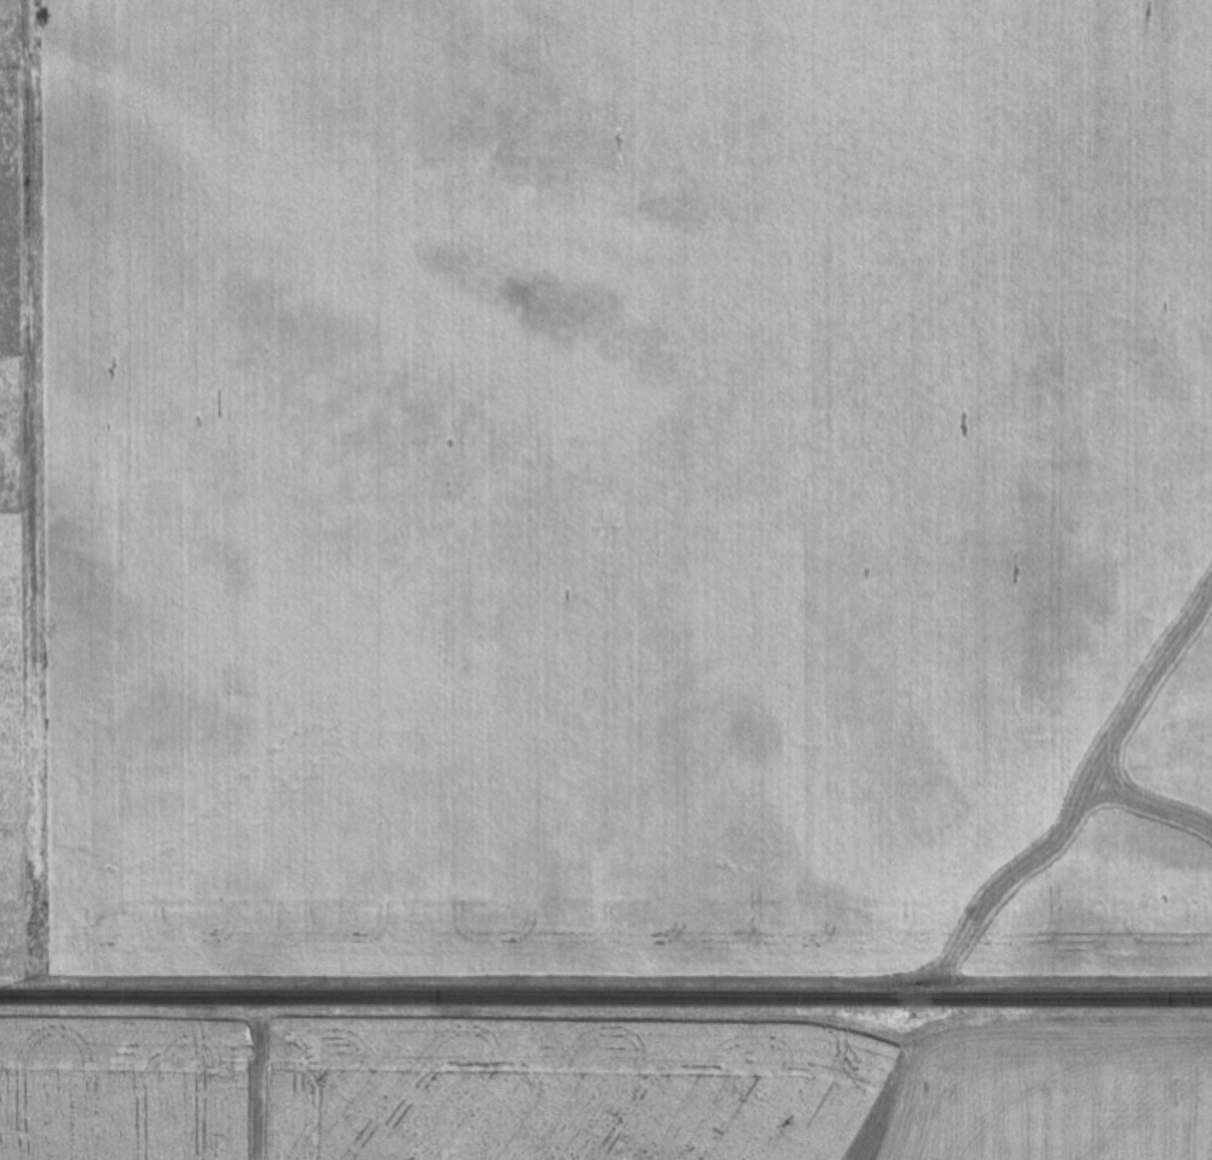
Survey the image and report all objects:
road: (605, 998)

